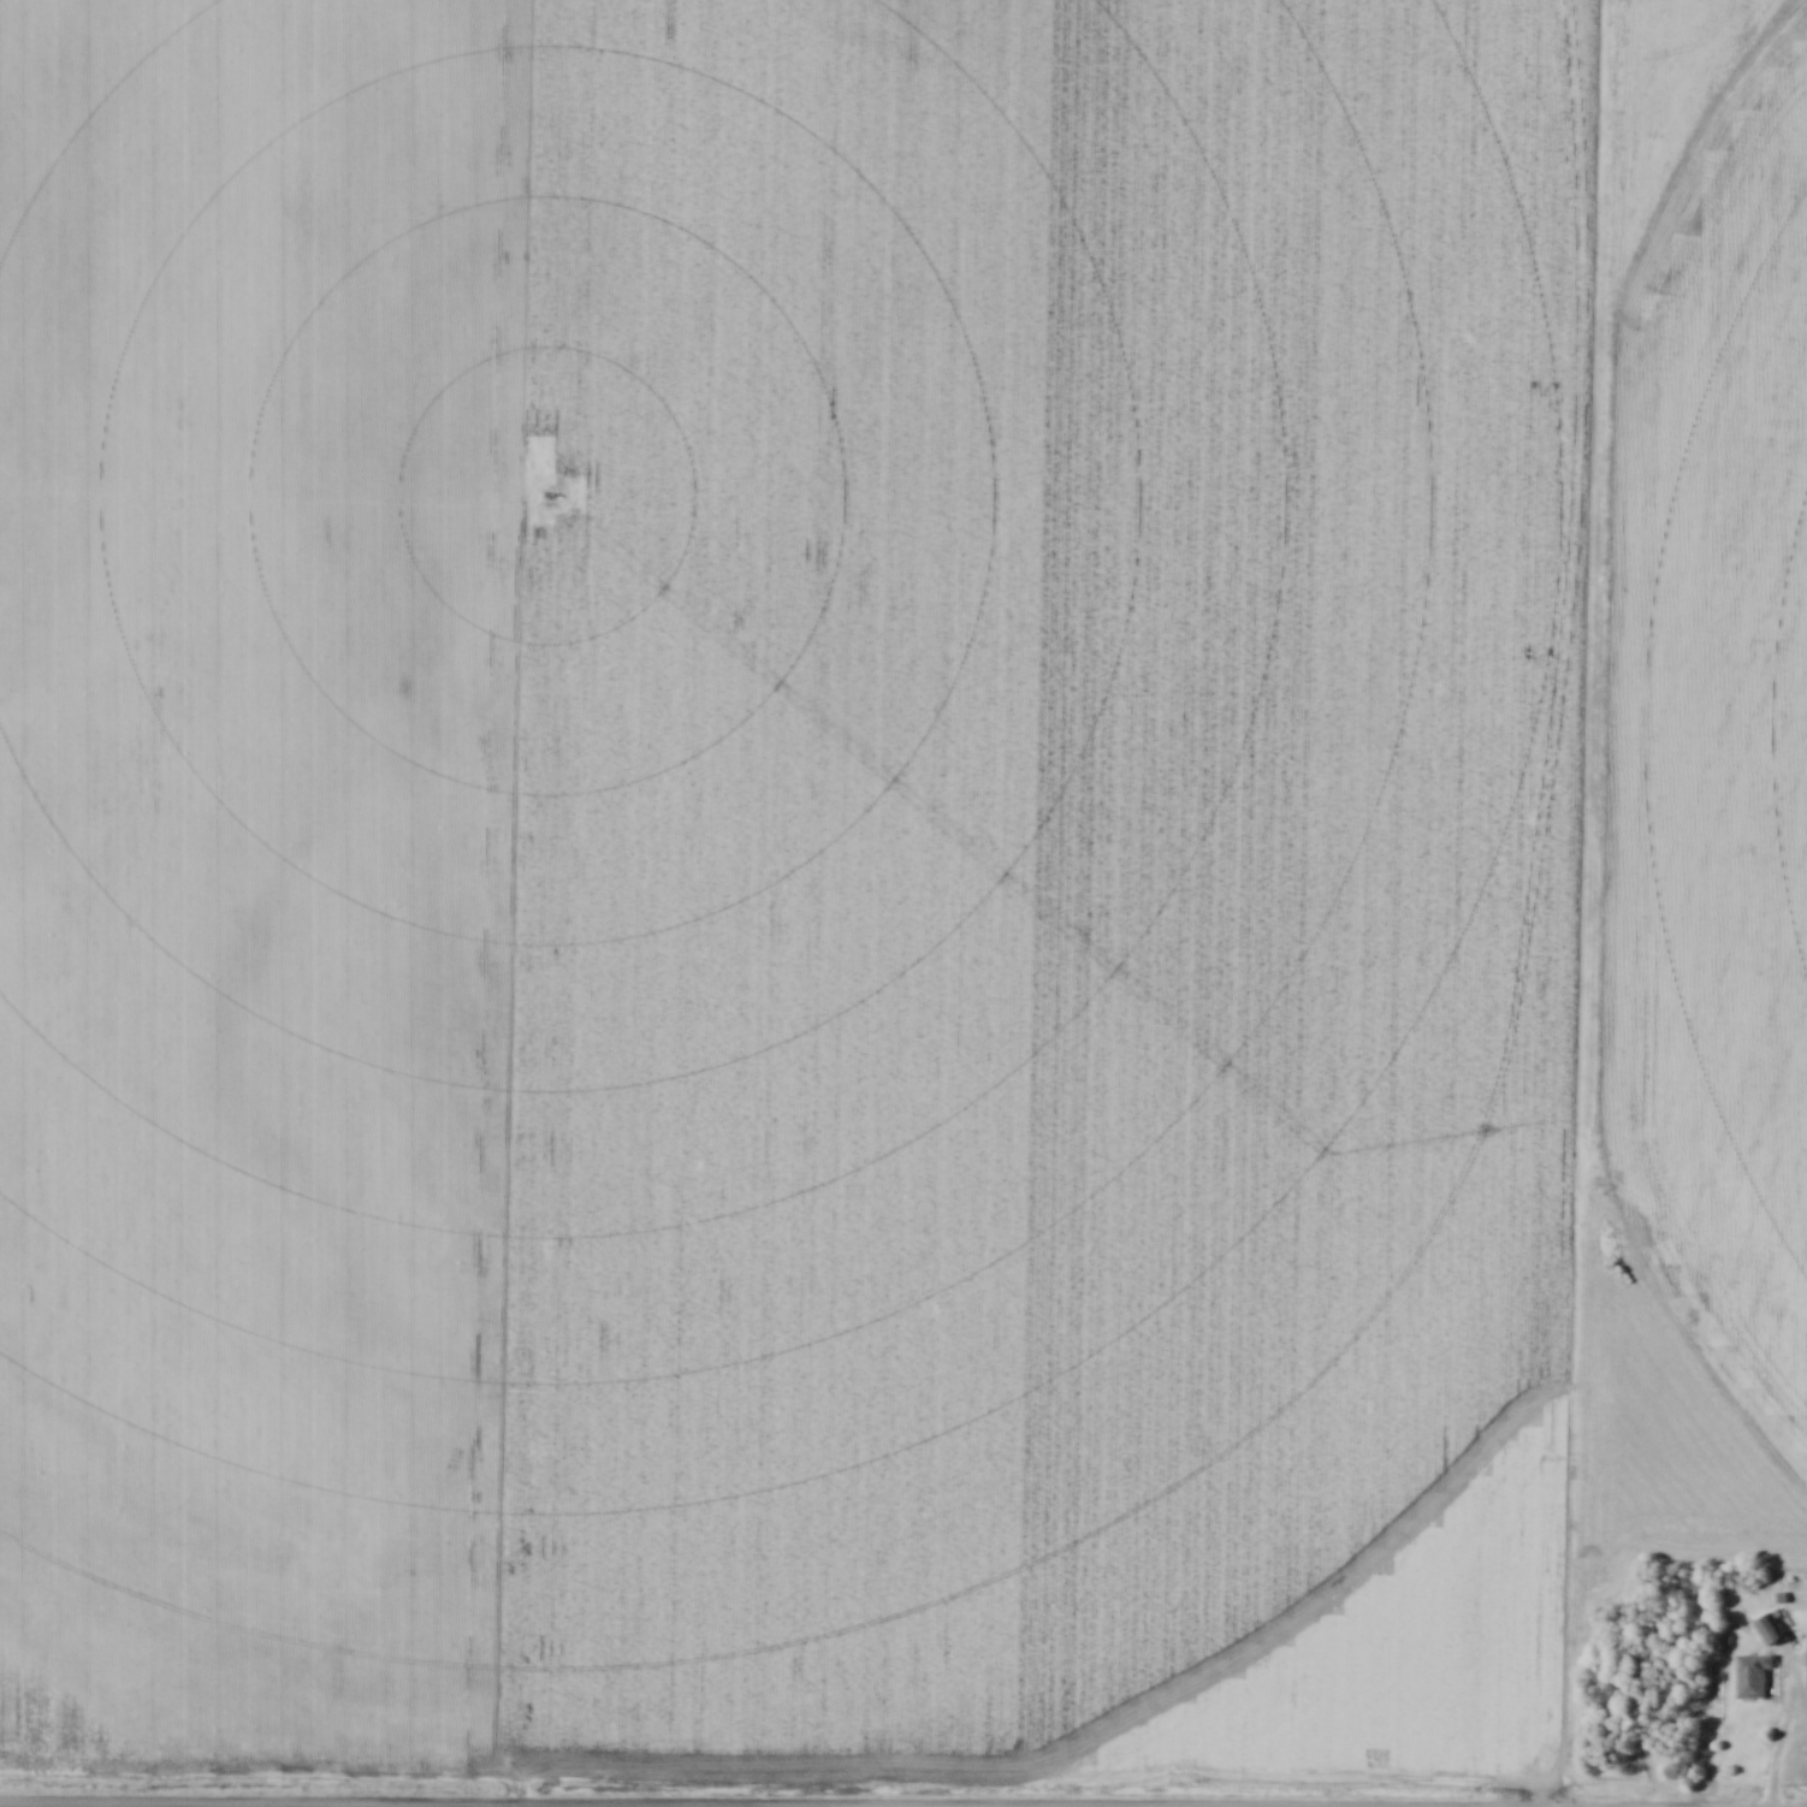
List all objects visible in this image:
building: (1767, 1629)
building: (1750, 1677)
road: (135, 1806)

